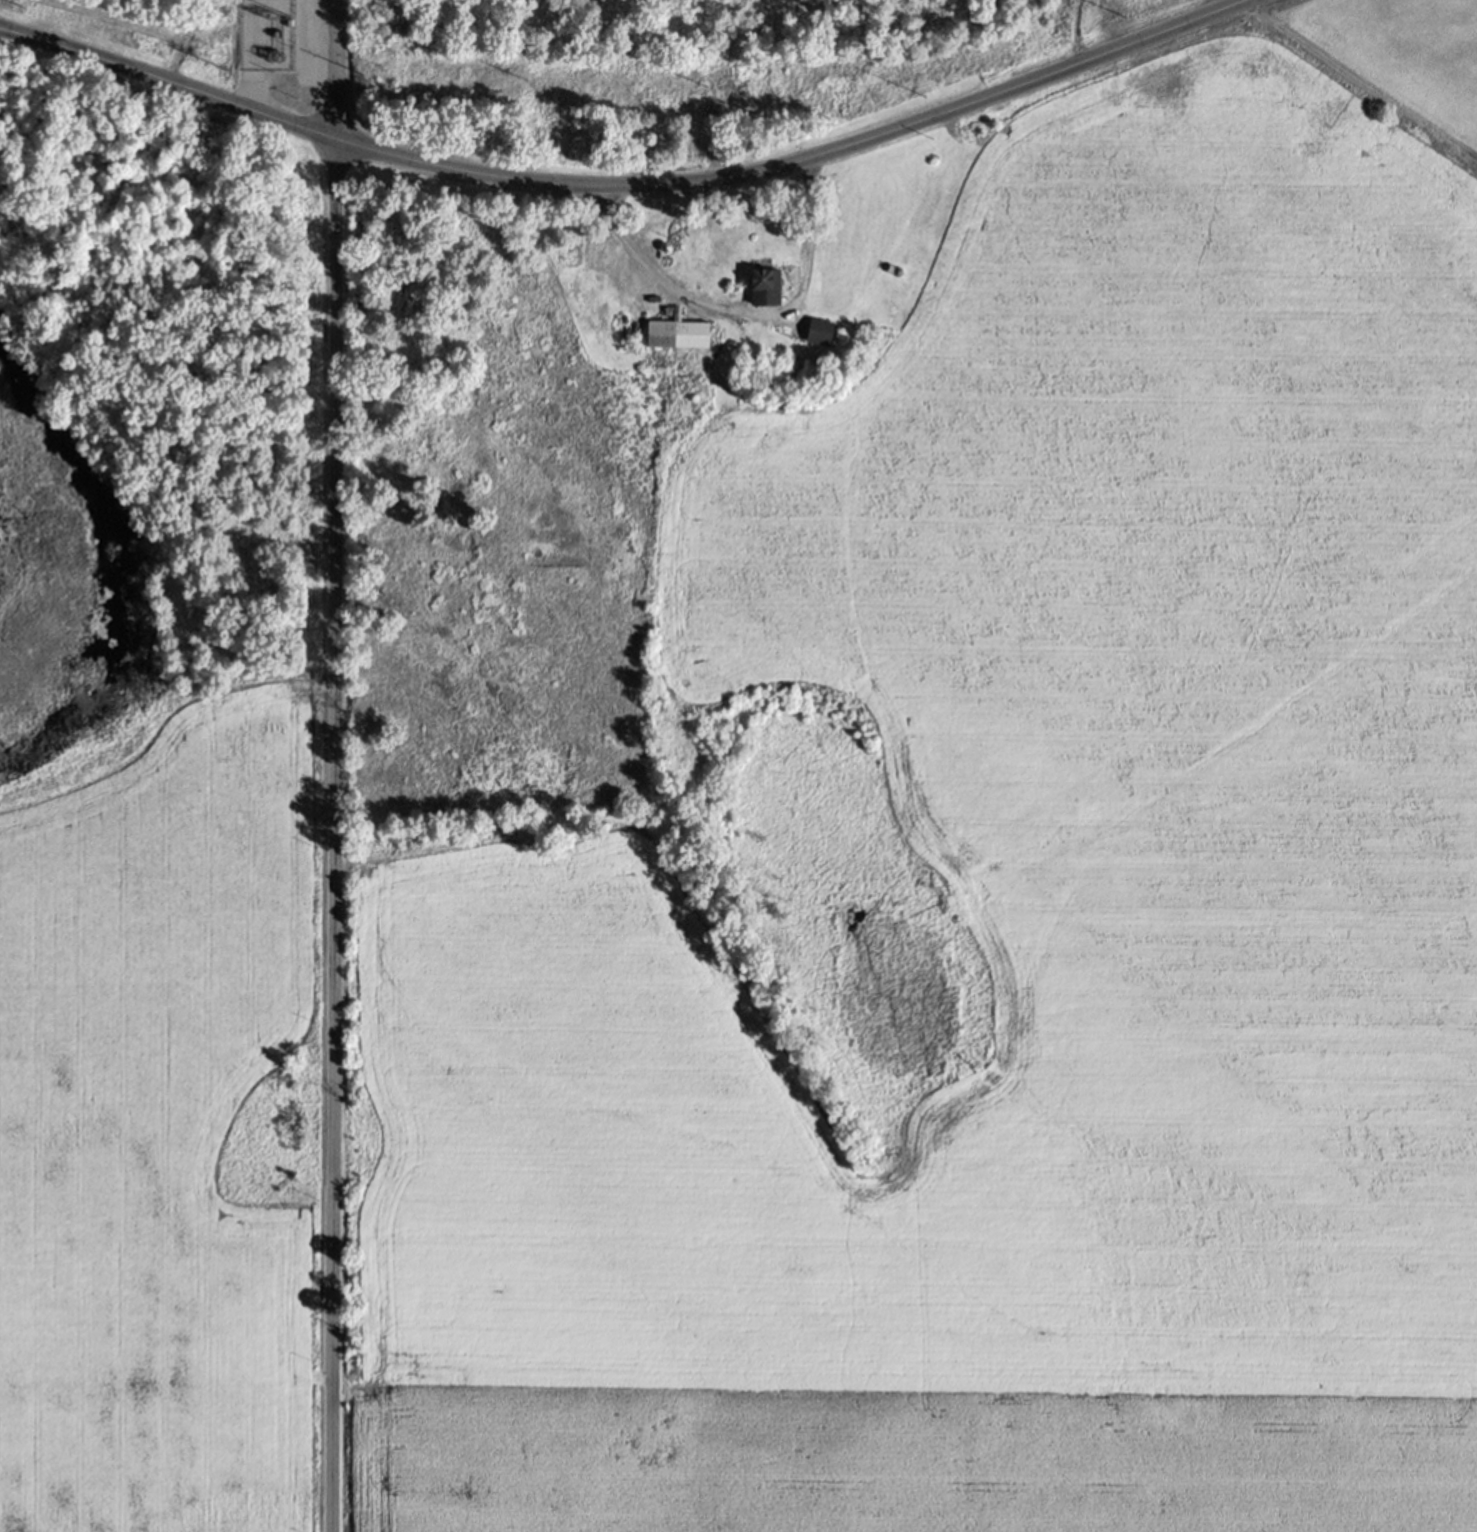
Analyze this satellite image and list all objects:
road: (628, 188)
building: (761, 297)
road: (737, 310)
building: (676, 341)
building: (819, 341)
road: (331, 765)

